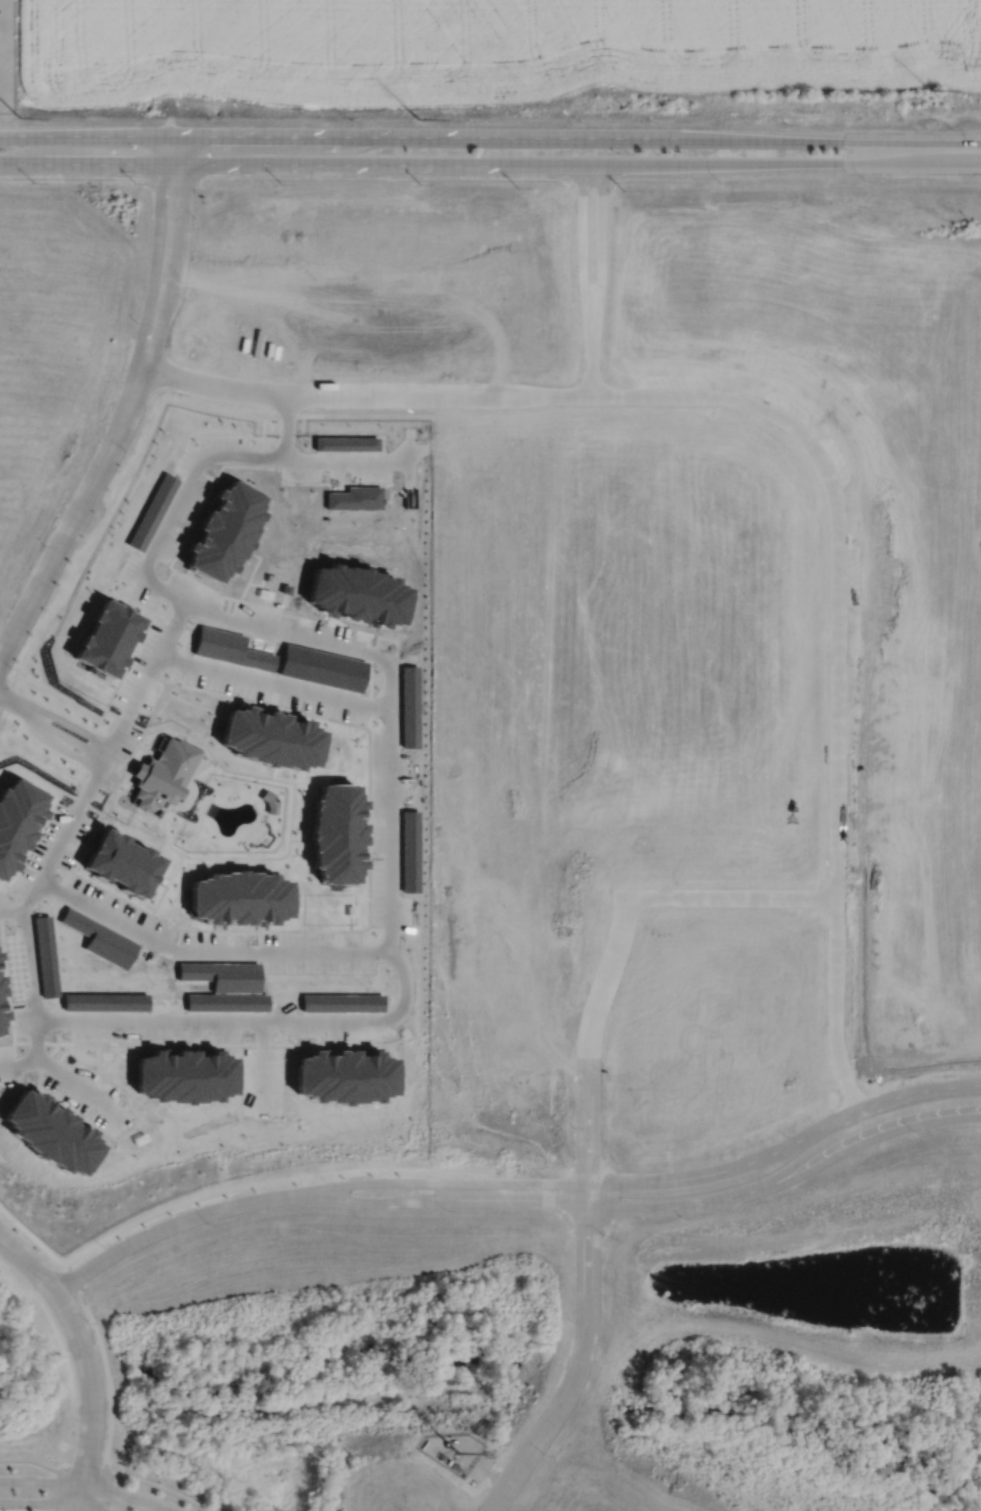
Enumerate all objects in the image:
road: (350, 137)
road: (840, 141)
road: (748, 163)
road: (258, 166)
road: (74, 178)
road: (455, 179)
road: (180, 180)
road: (151, 293)
road: (169, 297)
road: (469, 394)
road: (286, 425)
road: (149, 431)
road: (358, 460)
road: (178, 503)
road: (56, 557)
road: (286, 635)
road: (148, 673)
road: (274, 682)
road: (55, 715)
road: (52, 728)
road: (61, 747)
road: (104, 755)
road: (836, 767)
road: (389, 807)
road: (730, 900)
road: (10, 910)
road: (206, 949)
road: (25, 960)
road: (248, 1021)
road: (587, 1050)
road: (18, 1062)
road: (260, 1064)
road: (644, 1181)
road: (227, 1189)
road: (644, 1209)
road: (167, 1228)
road: (88, 1356)
road: (578, 1371)
road: (32, 1459)
road: (86, 1473)
road: (85, 1485)
road: (160, 1488)
road: (60, 1491)
road: (104, 1492)
road: (45, 1502)

